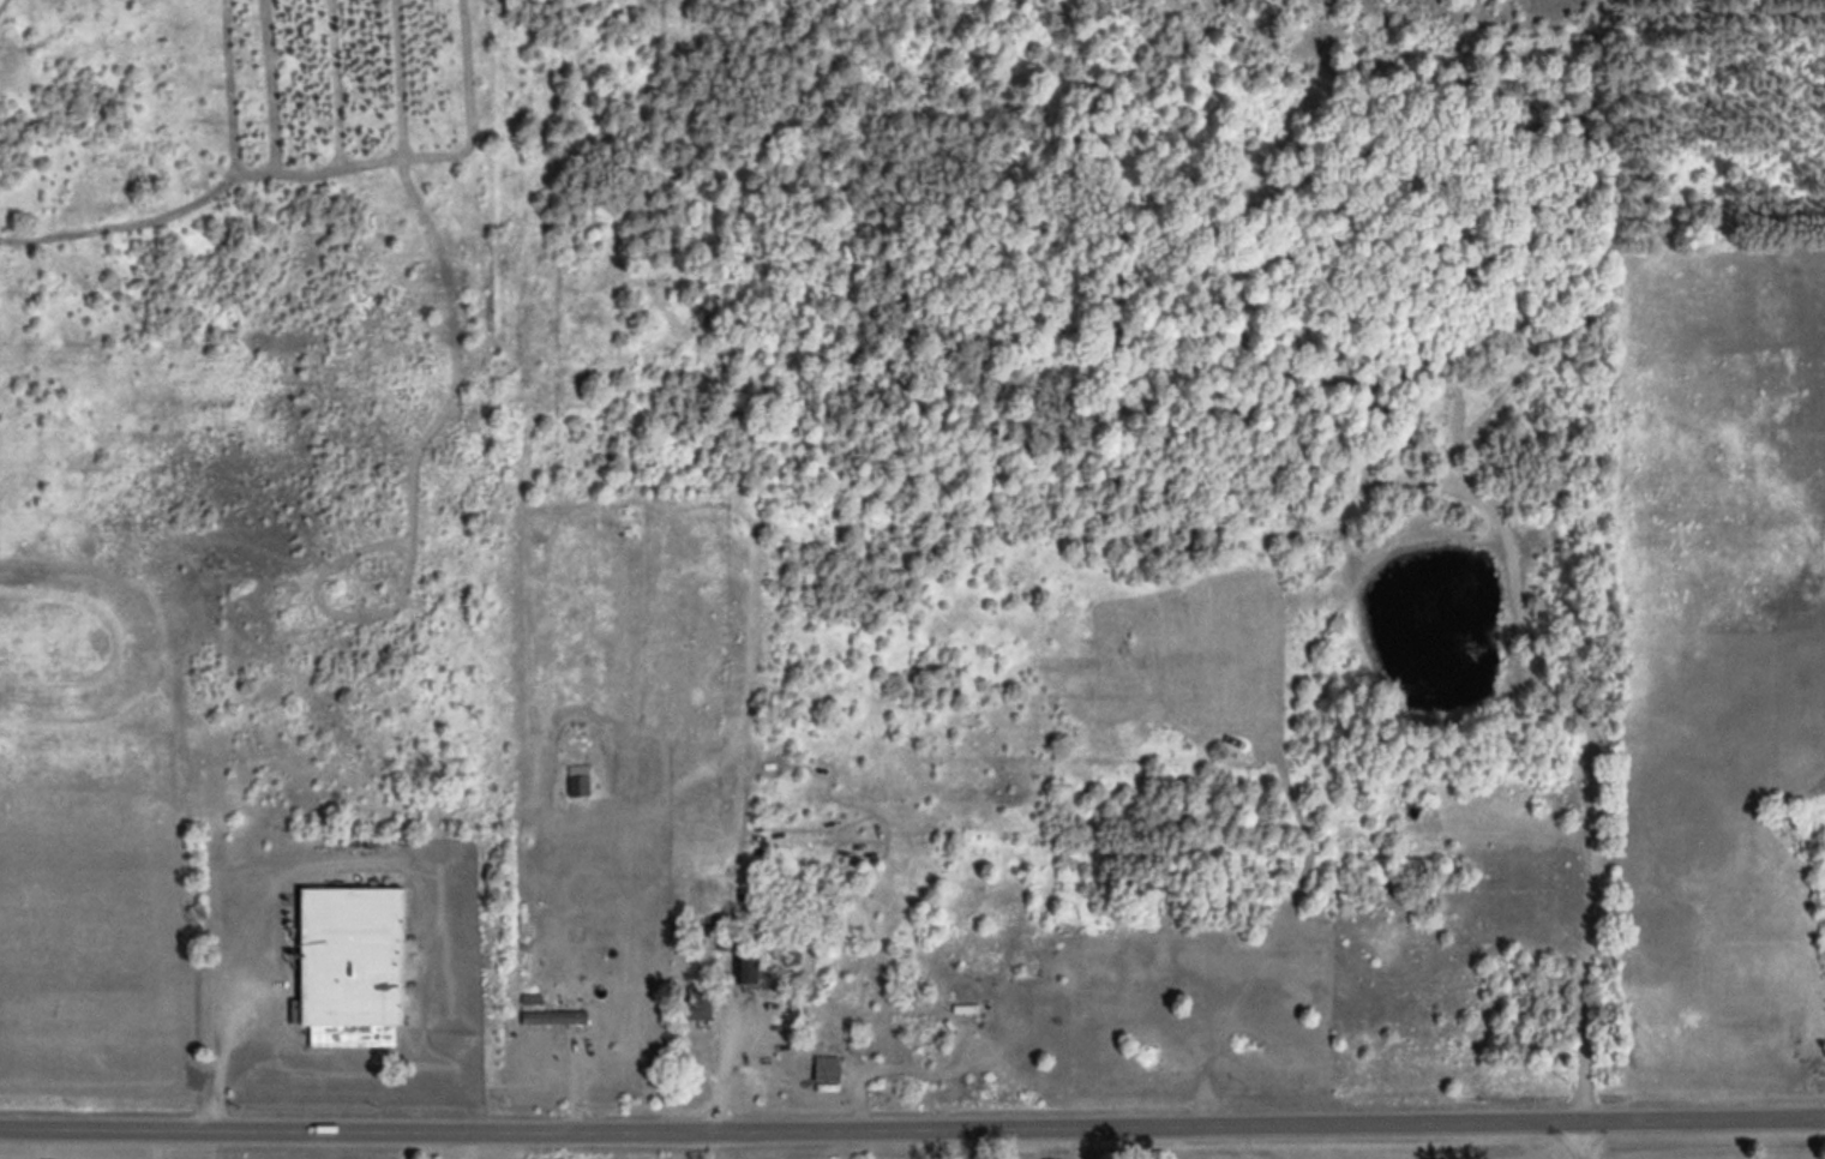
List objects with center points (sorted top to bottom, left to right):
building: (355, 961)
building: (743, 987)
building: (697, 1001)
building: (829, 1067)
road: (1160, 1124)
road: (248, 1128)

